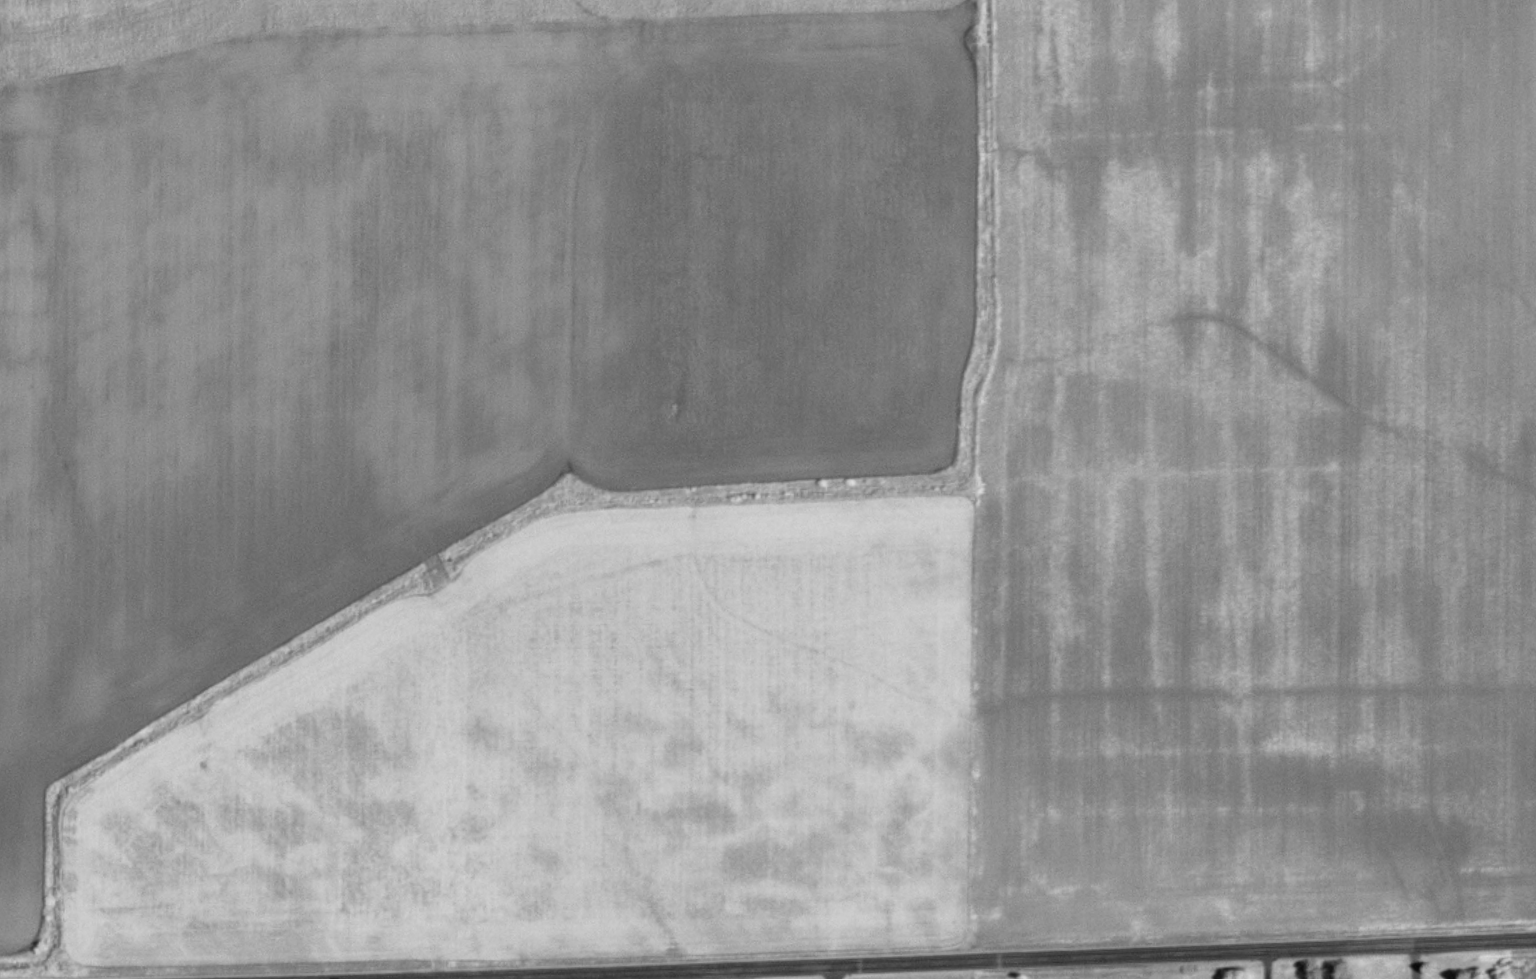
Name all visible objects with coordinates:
road: (948, 959)
road: (733, 973)
road: (429, 978)

